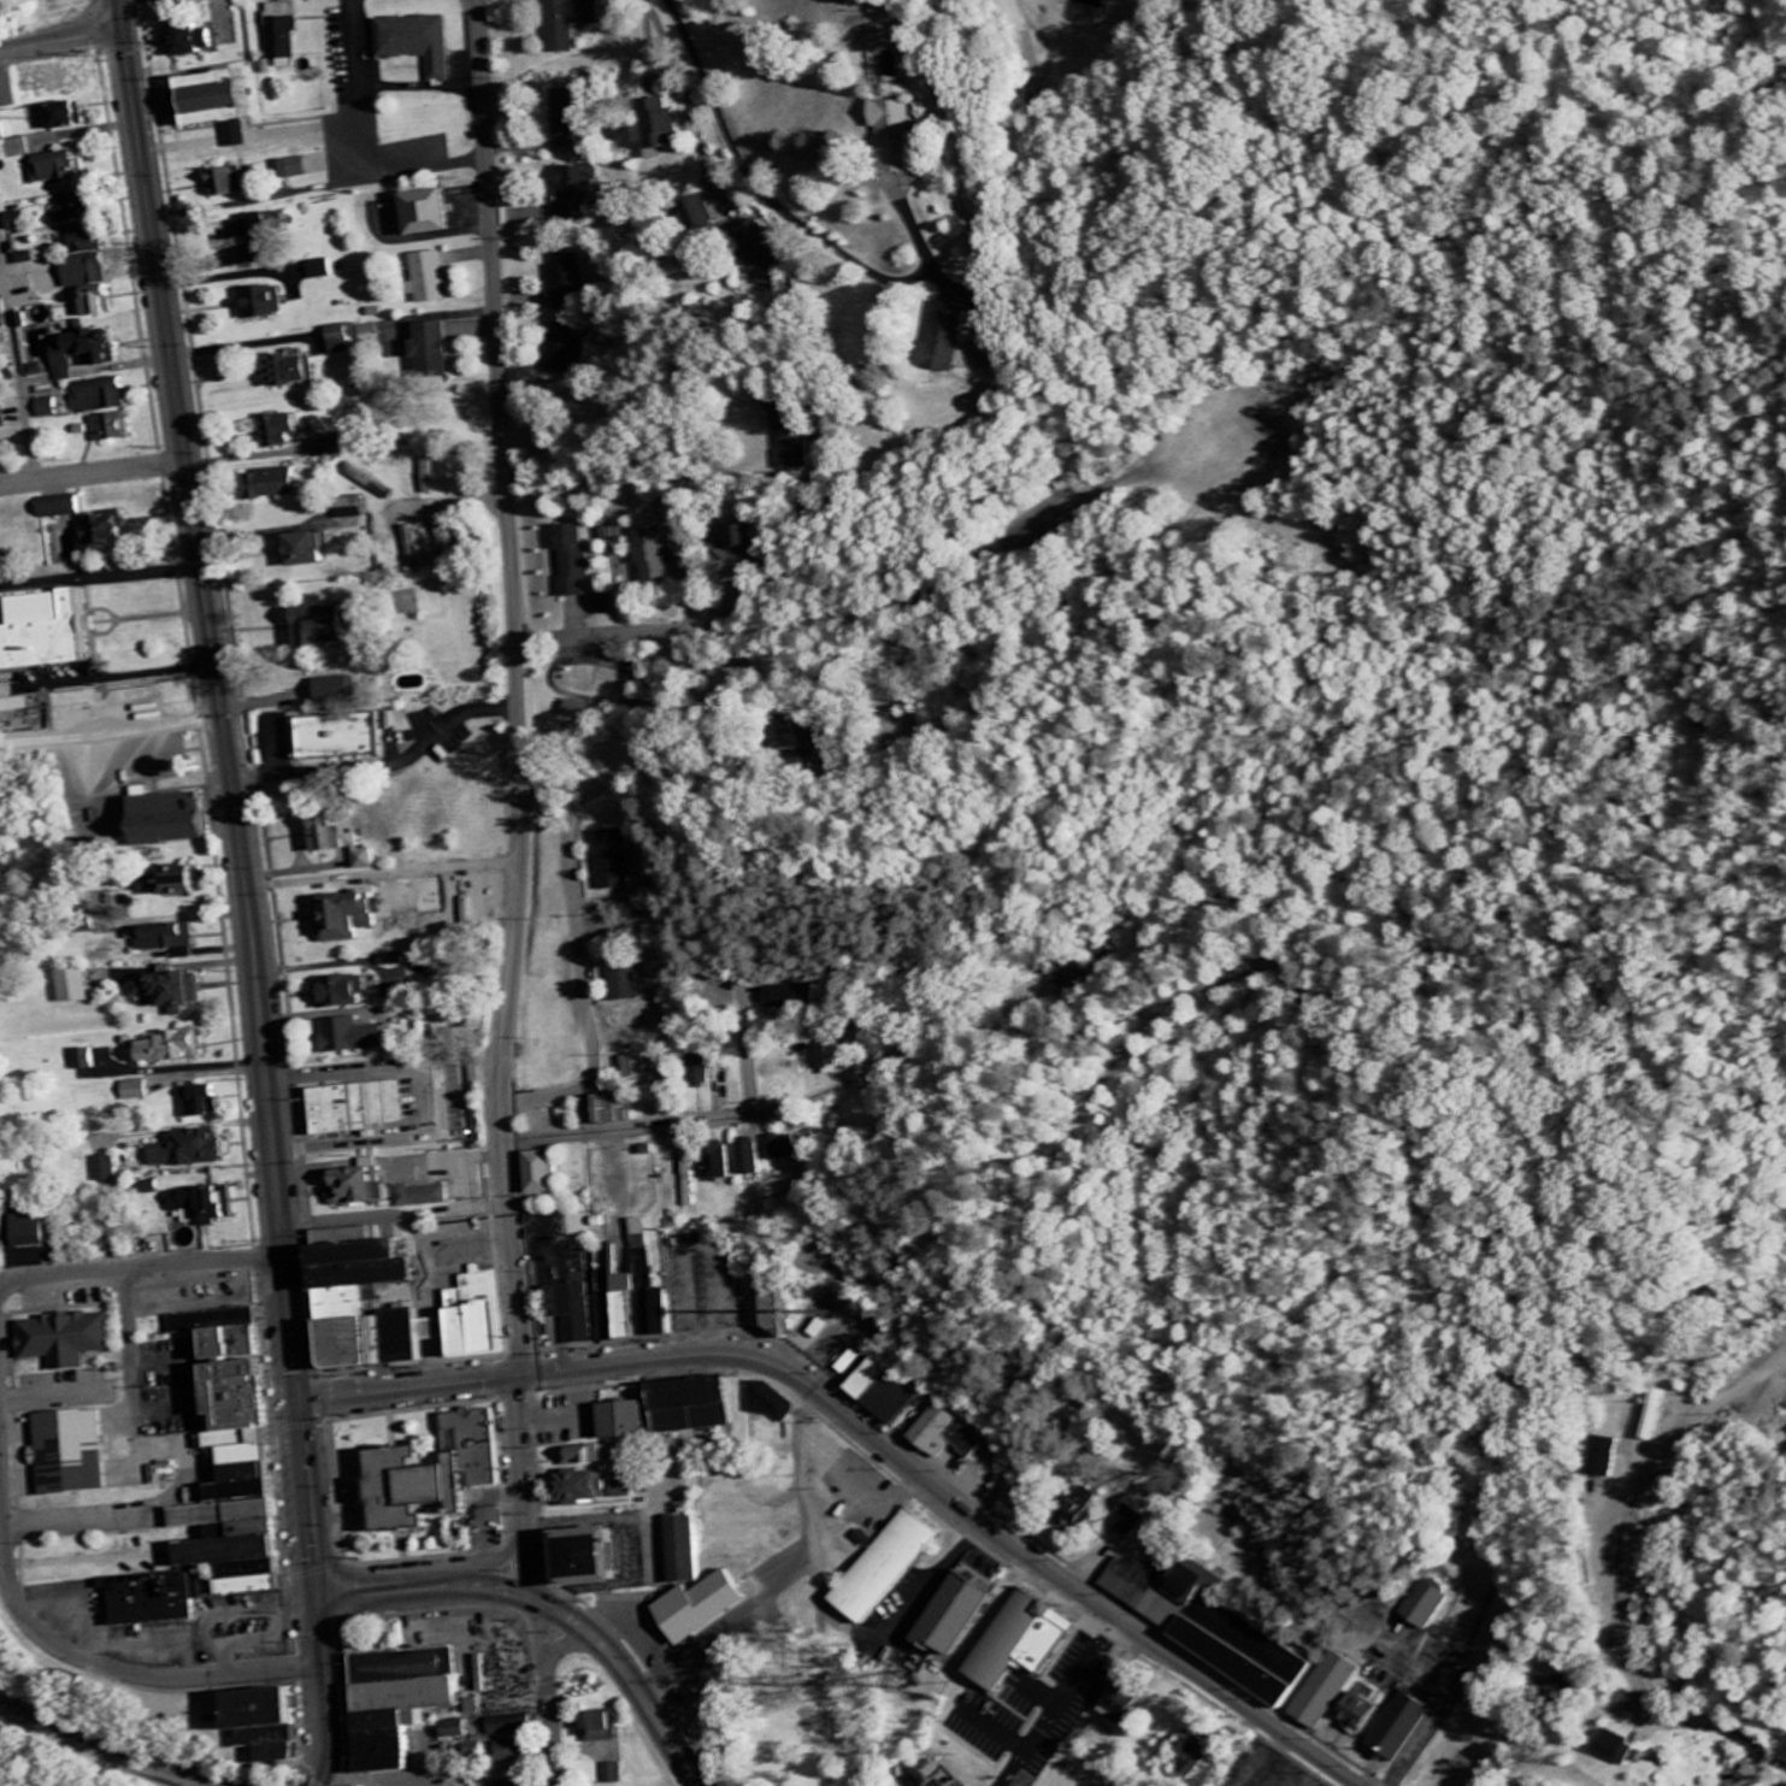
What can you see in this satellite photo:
building: (572, 23)
building: (288, 33)
road: (61, 41)
building: (196, 42)
building: (420, 43)
building: (10, 93)
building: (226, 105)
building: (63, 118)
building: (570, 119)
building: (668, 126)
building: (2, 135)
building: (898, 136)
building: (59, 170)
building: (293, 170)
building: (231, 184)
road: (759, 185)
road: (318, 187)
building: (579, 191)
building: (86, 210)
building: (706, 214)
building: (436, 216)
building: (23, 223)
building: (264, 240)
building: (774, 250)
building: (29, 260)
building: (324, 271)
building: (434, 279)
building: (570, 283)
building: (99, 302)
building: (266, 306)
building: (939, 337)
building: (343, 341)
building: (441, 350)
building: (565, 350)
building: (89, 353)
road: (18, 364)
building: (302, 371)
building: (104, 396)
building: (51, 408)
building: (114, 428)
building: (287, 430)
building: (791, 431)
road: (503, 438)
building: (334, 446)
road: (93, 473)
building: (373, 482)
building: (278, 484)
building: (65, 507)
building: (358, 508)
building: (748, 538)
building: (446, 546)
building: (413, 547)
building: (311, 550)
building: (660, 556)
building: (579, 561)
road: (100, 579)
building: (612, 606)
building: (332, 626)
building: (51, 631)
road: (612, 633)
building: (735, 679)
building: (342, 690)
building: (14, 706)
building: (584, 709)
road: (161, 729)
building: (348, 737)
road: (51, 738)
road: (678, 780)
road: (587, 797)
road: (234, 798)
building: (183, 819)
building: (344, 838)
building: (614, 861)
building: (179, 882)
road: (382, 882)
building: (353, 916)
building: (172, 939)
building: (1073, 973)
road: (585, 979)
building: (626, 982)
building: (79, 986)
building: (176, 991)
building: (344, 991)
building: (796, 996)
road: (874, 1033)
building: (355, 1037)
building: (175, 1048)
building: (839, 1057)
building: (88, 1060)
building: (641, 1067)
building: (705, 1073)
building: (137, 1091)
road: (440, 1095)
building: (204, 1102)
building: (365, 1108)
building: (619, 1110)
road: (714, 1119)
building: (789, 1148)
building: (195, 1150)
building: (755, 1157)
road: (390, 1161)
building: (726, 1163)
building: (108, 1169)
building: (550, 1173)
building: (362, 1189)
building: (426, 1197)
road: (466, 1202)
building: (646, 1226)
building: (33, 1232)
road: (513, 1240)
road: (143, 1263)
building: (349, 1297)
building: (642, 1302)
building: (578, 1313)
building: (71, 1340)
building: (684, 1411)
building: (1655, 1415)
building: (949, 1436)
road: (873, 1437)
building: (78, 1455)
building: (246, 1457)
building: (591, 1457)
building: (1608, 1457)
building: (443, 1473)
road: (860, 1481)
building: (602, 1490)
building: (1079, 1509)
building: (1125, 1521)
road: (8, 1550)
building: (701, 1550)
building: (609, 1560)
building: (895, 1568)
building: (1128, 1570)
road: (794, 1573)
building: (1193, 1580)
road: (1579, 1587)
building: (158, 1599)
traffic signals: (323, 1601)
building: (2, 1607)
building: (1425, 1607)
building: (719, 1608)
road: (555, 1609)
building: (959, 1613)
road: (895, 1633)
road: (643, 1637)
road: (1628, 1639)
building: (1013, 1643)
road: (562, 1649)
road: (194, 1679)
building: (1558, 1688)
road: (331, 1692)
building: (1324, 1692)
road: (550, 1693)
road: (1061, 1700)
building: (411, 1703)
building: (1115, 1704)
building: (1354, 1713)
road: (1438, 1714)
building: (279, 1723)
building: (518, 1726)
road: (996, 1727)
building: (605, 1728)
building: (1396, 1728)
building: (465, 1731)
railway: (105, 1747)
building: (1615, 1747)
building: (523, 1753)
building: (1190, 1758)
building: (619, 1775)
building: (523, 1784)

